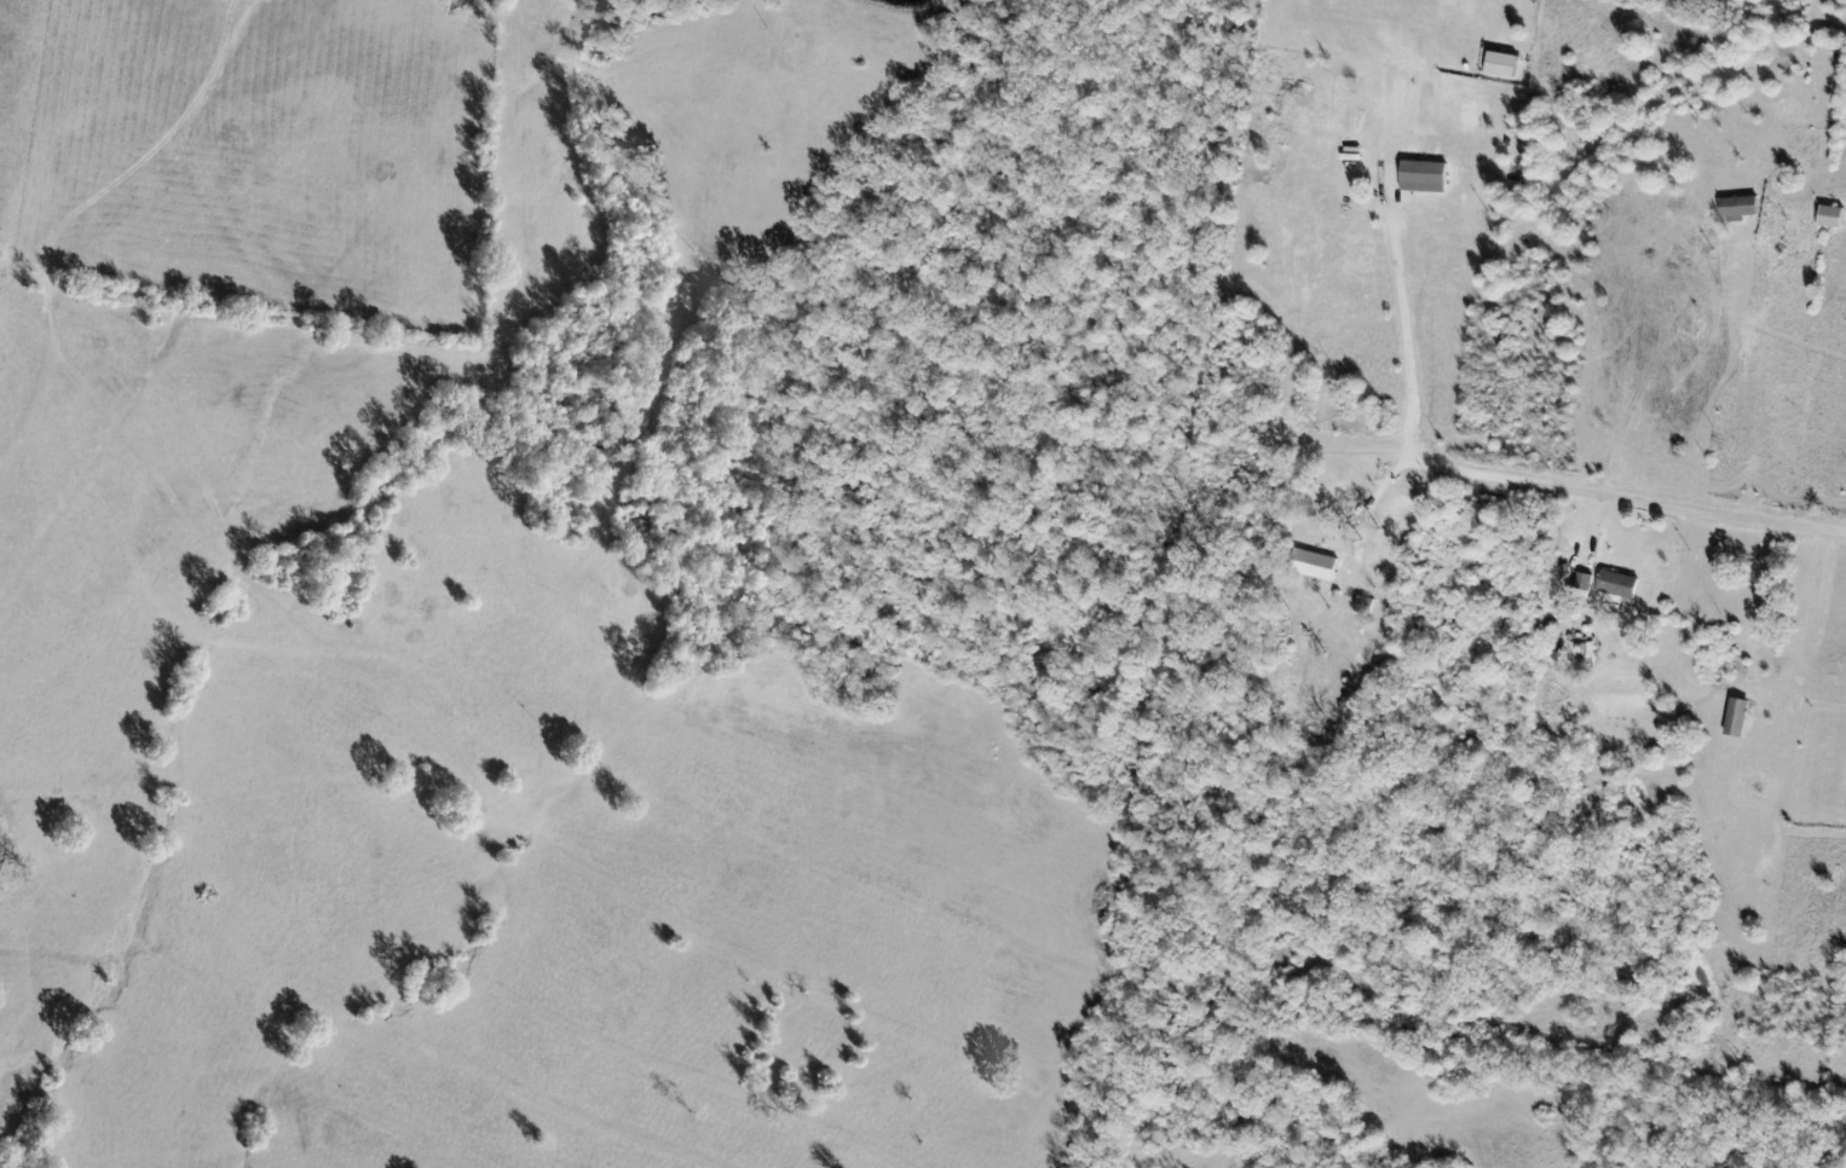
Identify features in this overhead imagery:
building: (1427, 175)
building: (1742, 209)
building: (1834, 220)
road: (1408, 375)
road: (1628, 495)
building: (1316, 566)
building: (1583, 585)
building: (1621, 588)
building: (1740, 718)

